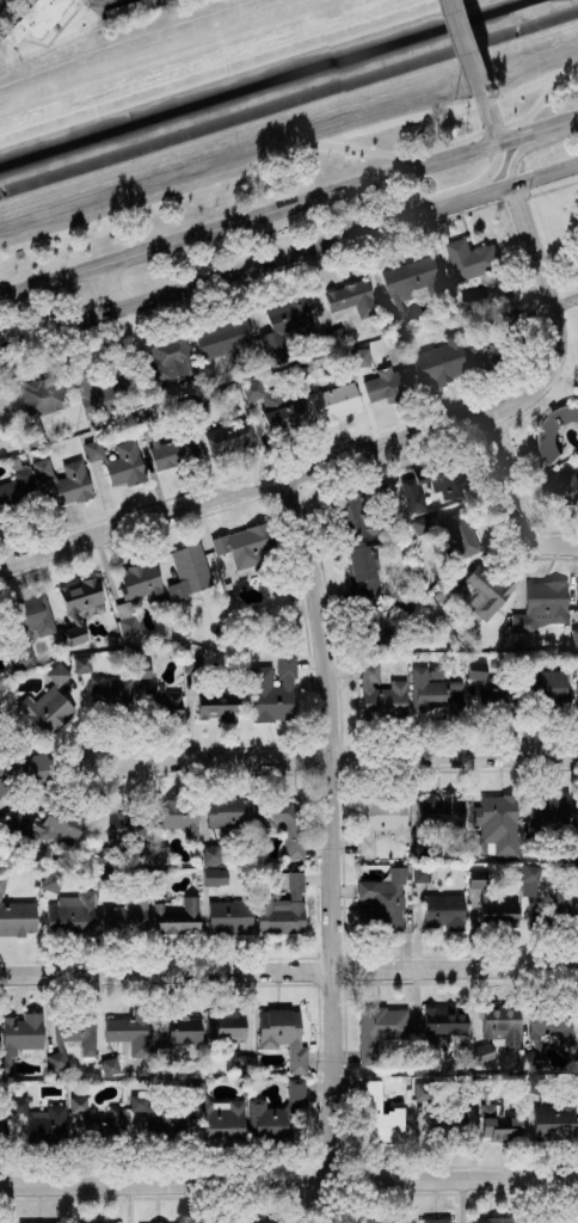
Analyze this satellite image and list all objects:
park: (4, 4)
building: (42, 14)
road: (467, 45)
park: (529, 54)
river: (282, 87)
road: (488, 116)
park: (226, 119)
road: (527, 124)
road: (455, 140)
road: (530, 145)
road: (455, 188)
road: (155, 197)
road: (288, 207)
road: (289, 254)
building: (482, 264)
road: (539, 270)
building: (410, 283)
road: (107, 288)
building: (351, 297)
road: (565, 302)
building: (288, 333)
building: (338, 336)
building: (225, 337)
building: (503, 342)
building: (361, 356)
building: (170, 361)
building: (443, 361)
building: (391, 383)
building: (103, 391)
building: (330, 395)
building: (42, 404)
building: (202, 407)
building: (277, 408)
building: (555, 428)
building: (230, 438)
building: (168, 445)
building: (118, 461)
road: (289, 477)
building: (66, 479)
building: (567, 483)
building: (433, 488)
building: (16, 492)
road: (516, 503)
building: (361, 511)
building: (455, 534)
building: (248, 545)
building: (363, 571)
building: (189, 572)
building: (142, 582)
building: (480, 589)
building: (577, 600)
building: (80, 604)
building: (541, 604)
building: (130, 622)
building: (30, 626)
building: (371, 629)
building: (574, 632)
building: (113, 639)
building: (0, 643)
building: (574, 660)
building: (82, 663)
building: (435, 672)
building: (273, 689)
building: (486, 689)
building: (549, 689)
building: (110, 692)
building: (435, 693)
building: (381, 694)
building: (211, 695)
building: (156, 697)
building: (577, 697)
building: (49, 705)
road: (349, 758)
road: (119, 762)
building: (21, 770)
building: (443, 815)
building: (178, 816)
building: (545, 818)
building: (225, 819)
building: (380, 819)
building: (283, 822)
building: (49, 825)
building: (494, 825)
building: (123, 834)
building: (576, 847)
road: (334, 848)
building: (423, 849)
building: (160, 854)
building: (420, 872)
building: (574, 872)
building: (158, 877)
building: (214, 877)
building: (105, 878)
building: (51, 880)
building: (2, 883)
building: (562, 898)
building: (381, 901)
building: (493, 904)
building: (295, 905)
building: (443, 910)
building: (74, 914)
building: (229, 916)
building: (17, 917)
building: (177, 917)
building: (125, 918)
road: (466, 969)
road: (327, 971)
road: (154, 972)
road: (4, 975)
building: (443, 1021)
building: (225, 1025)
building: (502, 1025)
building: (547, 1027)
building: (379, 1028)
building: (130, 1030)
building: (282, 1034)
building: (177, 1035)
building: (19, 1037)
building: (72, 1037)
building: (482, 1052)
building: (577, 1055)
building: (426, 1061)
building: (244, 1062)
building: (110, 1065)
building: (536, 1086)
building: (276, 1112)
building: (159, 1113)
building: (442, 1113)
building: (380, 1114)
building: (497, 1114)
building: (219, 1116)
building: (39, 1119)
building: (99, 1120)
building: (553, 1121)
building: (1, 1133)
road: (289, 1182)
building: (436, 1219)
building: (492, 1219)
building: (226, 1221)
building: (264, 1221)
building: (371, 1221)
building: (560, 1221)
building: (38, 1222)
building: (98, 1222)
building: (109, 1222)
building: (159, 1222)

